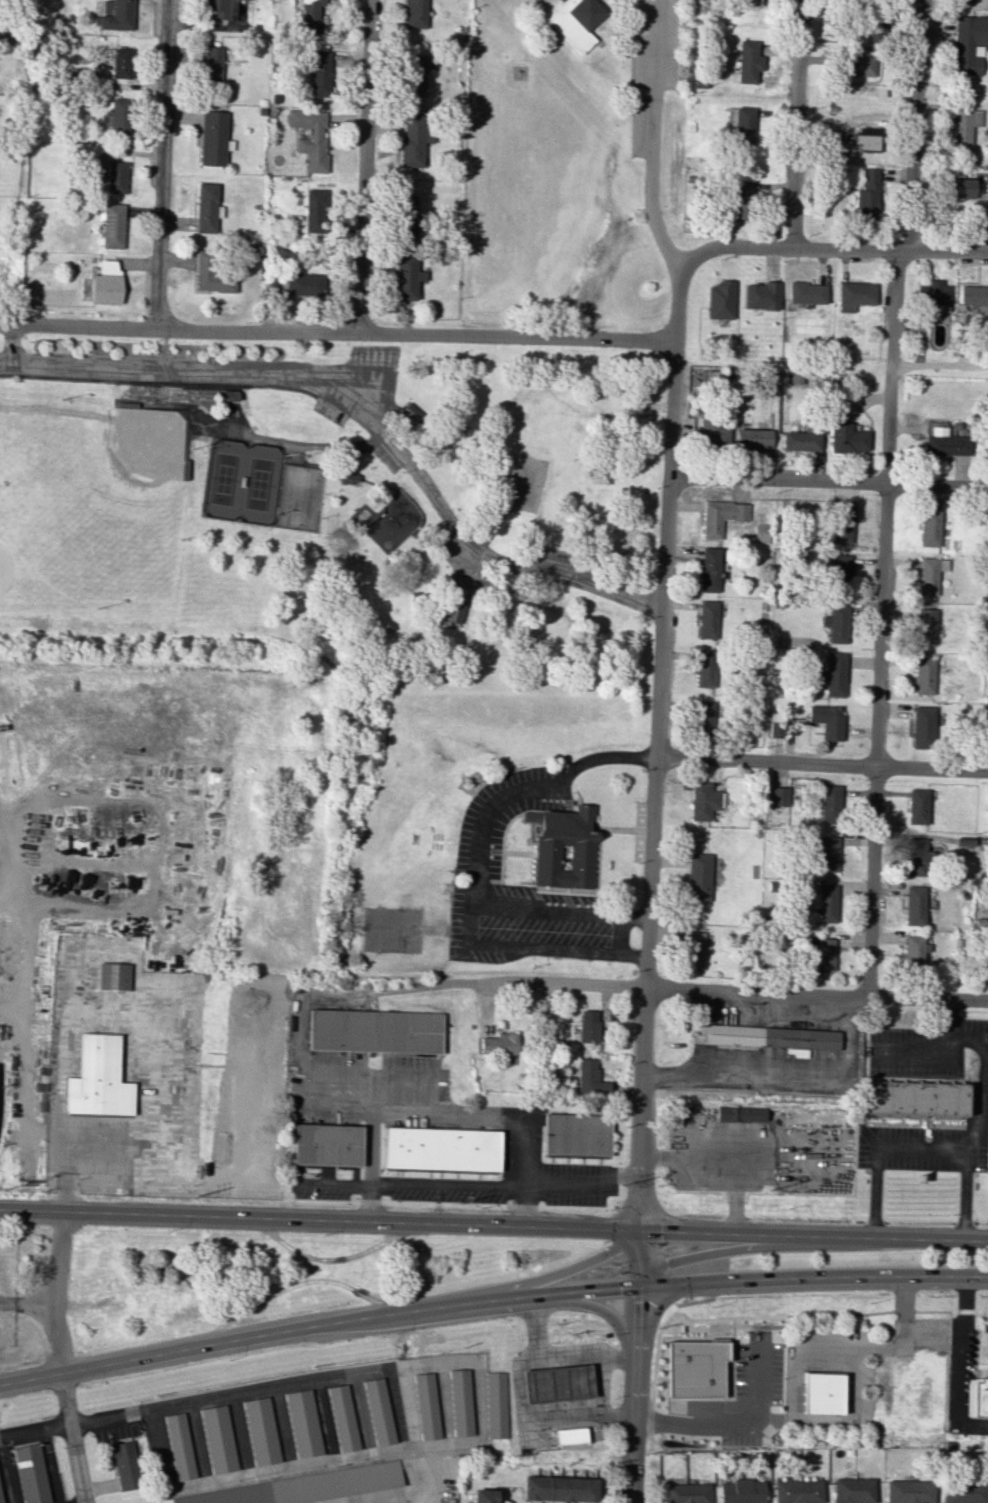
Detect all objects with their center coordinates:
building: (965, 0)
building: (749, 2)
building: (217, 8)
building: (415, 13)
building: (310, 15)
building: (117, 16)
building: (575, 21)
road: (603, 28)
building: (877, 28)
road: (610, 32)
building: (968, 44)
building: (748, 61)
building: (121, 63)
building: (211, 64)
building: (857, 64)
building: (319, 73)
building: (416, 74)
road: (632, 77)
building: (119, 115)
road: (797, 124)
building: (963, 125)
building: (743, 126)
building: (309, 137)
building: (866, 137)
building: (213, 138)
building: (412, 140)
road: (653, 140)
road: (162, 165)
road: (361, 167)
building: (115, 177)
building: (963, 188)
building: (867, 194)
building: (740, 199)
building: (205, 207)
building: (406, 210)
building: (313, 211)
building: (112, 225)
road: (847, 248)
building: (211, 274)
building: (405, 276)
building: (105, 283)
building: (297, 284)
building: (806, 293)
building: (933, 294)
building: (855, 295)
building: (973, 295)
building: (760, 296)
building: (720, 300)
road: (336, 333)
road: (163, 344)
road: (7, 360)
road: (168, 371)
road: (370, 374)
parking lot: (267, 380)
road: (125, 382)
road: (155, 387)
road: (273, 388)
road: (213, 390)
road: (350, 410)
park: (396, 411)
building: (410, 412)
road: (423, 414)
road: (210, 420)
road: (238, 421)
road: (388, 423)
building: (710, 432)
building: (846, 436)
road: (263, 438)
building: (752, 438)
building: (801, 441)
building: (945, 443)
road: (187, 454)
parking lot: (386, 454)
road: (292, 464)
road: (319, 467)
building: (349, 477)
park: (242, 481)
road: (828, 481)
park: (526, 484)
road: (885, 494)
park: (94, 495)
park: (298, 497)
road: (419, 508)
building: (720, 516)
building: (842, 524)
building: (929, 527)
building: (760, 533)
road: (495, 554)
road: (477, 561)
parking lot: (570, 564)
building: (709, 569)
building: (839, 571)
building: (929, 575)
building: (454, 607)
building: (709, 617)
road: (443, 622)
building: (836, 623)
building: (925, 625)
building: (706, 668)
building: (835, 674)
building: (923, 675)
building: (704, 715)
building: (828, 720)
building: (923, 726)
building: (776, 729)
building: (986, 737)
road: (821, 764)
road: (528, 791)
building: (779, 796)
building: (703, 800)
building: (831, 804)
building: (918, 806)
building: (567, 850)
building: (827, 853)
building: (916, 856)
parking lot: (480, 864)
road: (11, 868)
road: (649, 869)
building: (698, 876)
building: (825, 903)
building: (914, 905)
road: (470, 923)
building: (692, 950)
building: (913, 950)
building: (823, 952)
building: (115, 976)
road: (729, 991)
road: (309, 1001)
building: (539, 1016)
building: (588, 1026)
building: (375, 1031)
building: (772, 1037)
building: (498, 1044)
road: (917, 1053)
road: (165, 1054)
road: (984, 1059)
building: (589, 1077)
building: (99, 1079)
building: (918, 1099)
road: (449, 1113)
building: (744, 1113)
building: (576, 1134)
building: (327, 1145)
building: (440, 1149)
road: (923, 1149)
road: (724, 1155)
road: (335, 1182)
road: (430, 1184)
power tower: (620, 1184)
road: (564, 1185)
power tower: (1, 1188)
power tower: (769, 1189)
power tower: (197, 1195)
power tower: (459, 1202)
road: (494, 1223)
road: (711, 1249)
road: (563, 1268)
road: (27, 1302)
road: (491, 1302)
road: (594, 1304)
road: (755, 1317)
road: (535, 1327)
road: (57, 1358)
road: (438, 1363)
road: (962, 1363)
road: (795, 1367)
building: (695, 1368)
building: (559, 1385)
gas station: (559, 1385)
road: (517, 1387)
road: (233, 1396)
building: (825, 1396)
building: (975, 1397)
building: (460, 1402)
building: (495, 1404)
building: (425, 1405)
building: (377, 1411)
road: (360, 1417)
building: (341, 1418)
road: (325, 1422)
building: (302, 1423)
road: (726, 1424)
road: (34, 1429)
road: (285, 1429)
building: (260, 1431)
building: (572, 1436)
gas station: (572, 1436)
road: (242, 1437)
building: (218, 1439)
road: (198, 1445)
road: (462, 1445)
building: (179, 1446)
road: (162, 1450)
road: (412, 1452)
building: (124, 1463)
road: (50, 1465)
road: (308, 1465)
road: (8, 1469)
building: (30, 1474)
building: (297, 1488)
road: (101, 1490)
building: (561, 1490)
building: (853, 1490)
building: (741, 1491)
building: (797, 1491)
building: (908, 1491)
building: (962, 1492)
building: (686, 1493)
building: (483, 1496)
building: (0, 1502)

